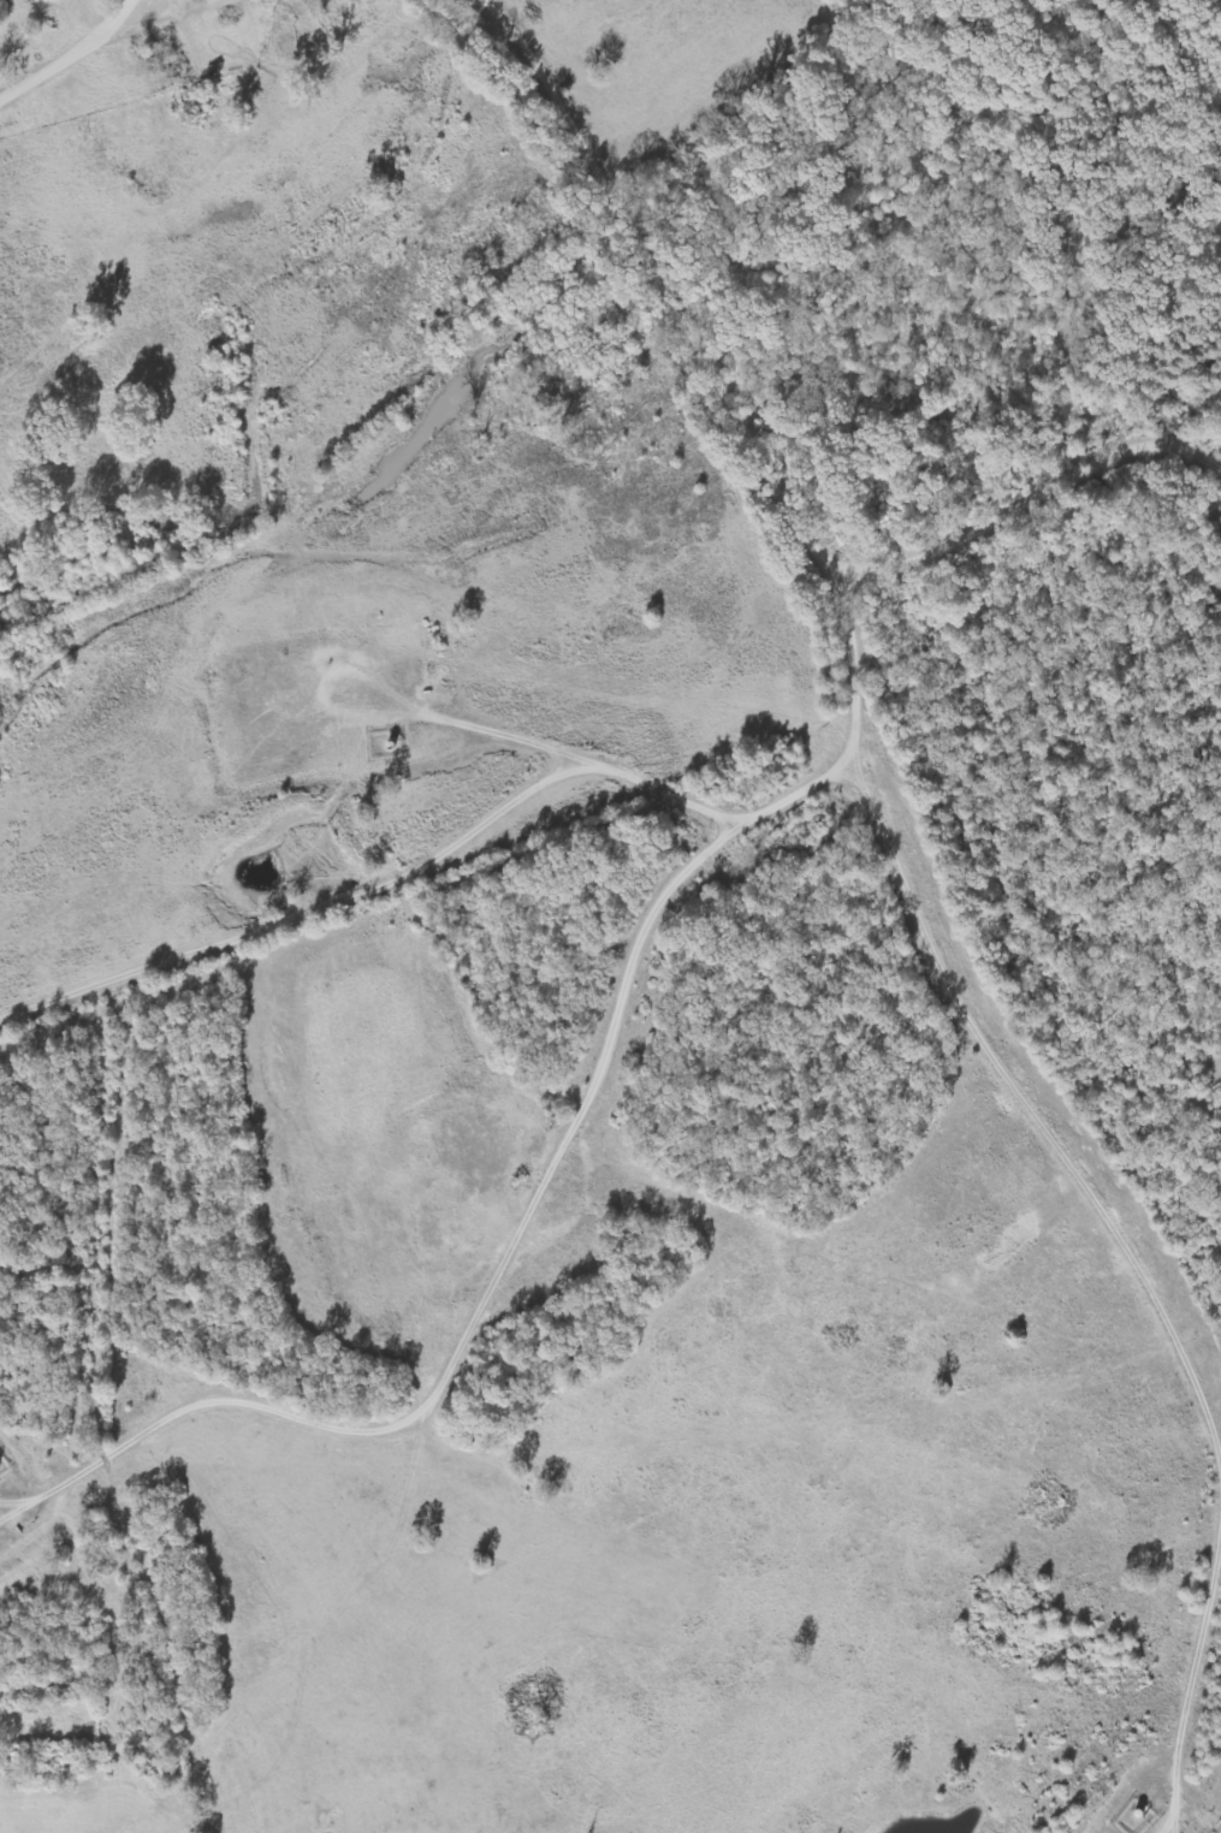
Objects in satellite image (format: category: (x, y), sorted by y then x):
road: (850, 769)

